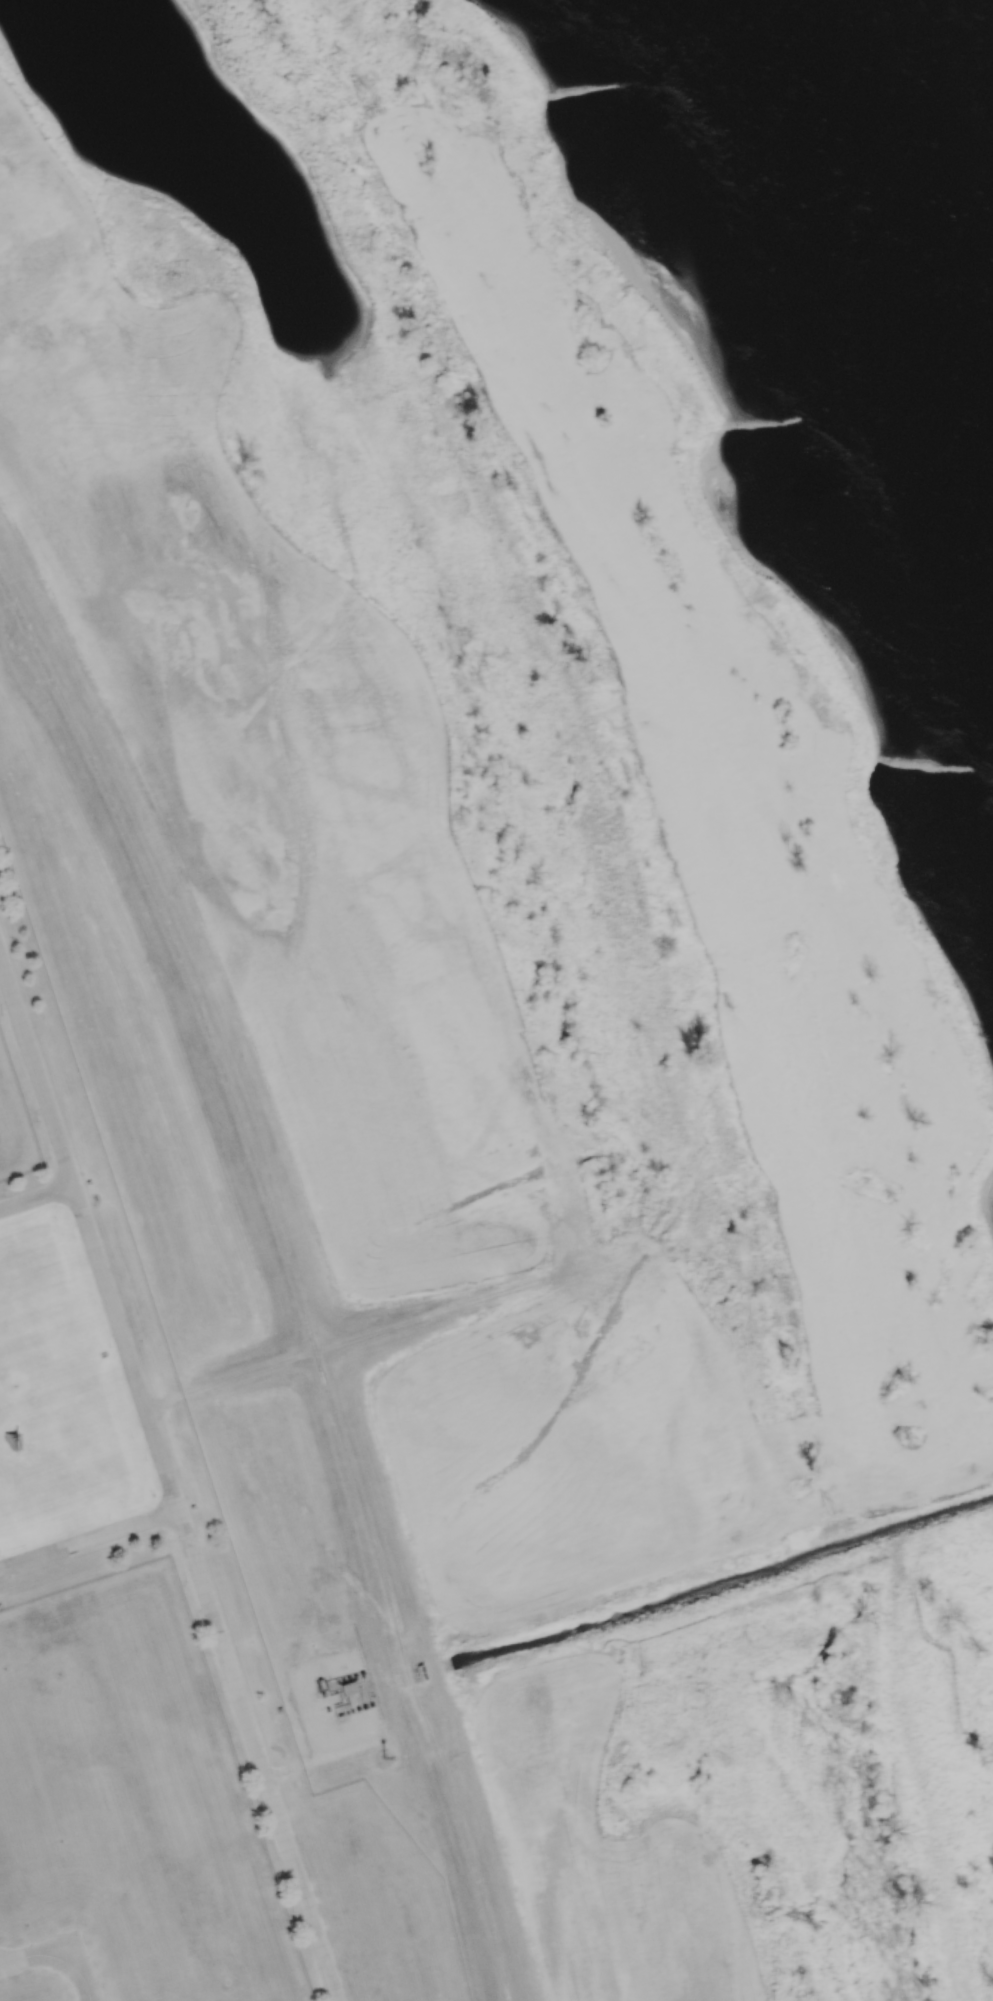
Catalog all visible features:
river: (866, 240)
road: (36, 1077)
road: (36, 1200)
road: (88, 1540)
road: (203, 1595)
airport: (147, 1635)
road: (321, 1760)
airport taxiway: (55, 1958)

